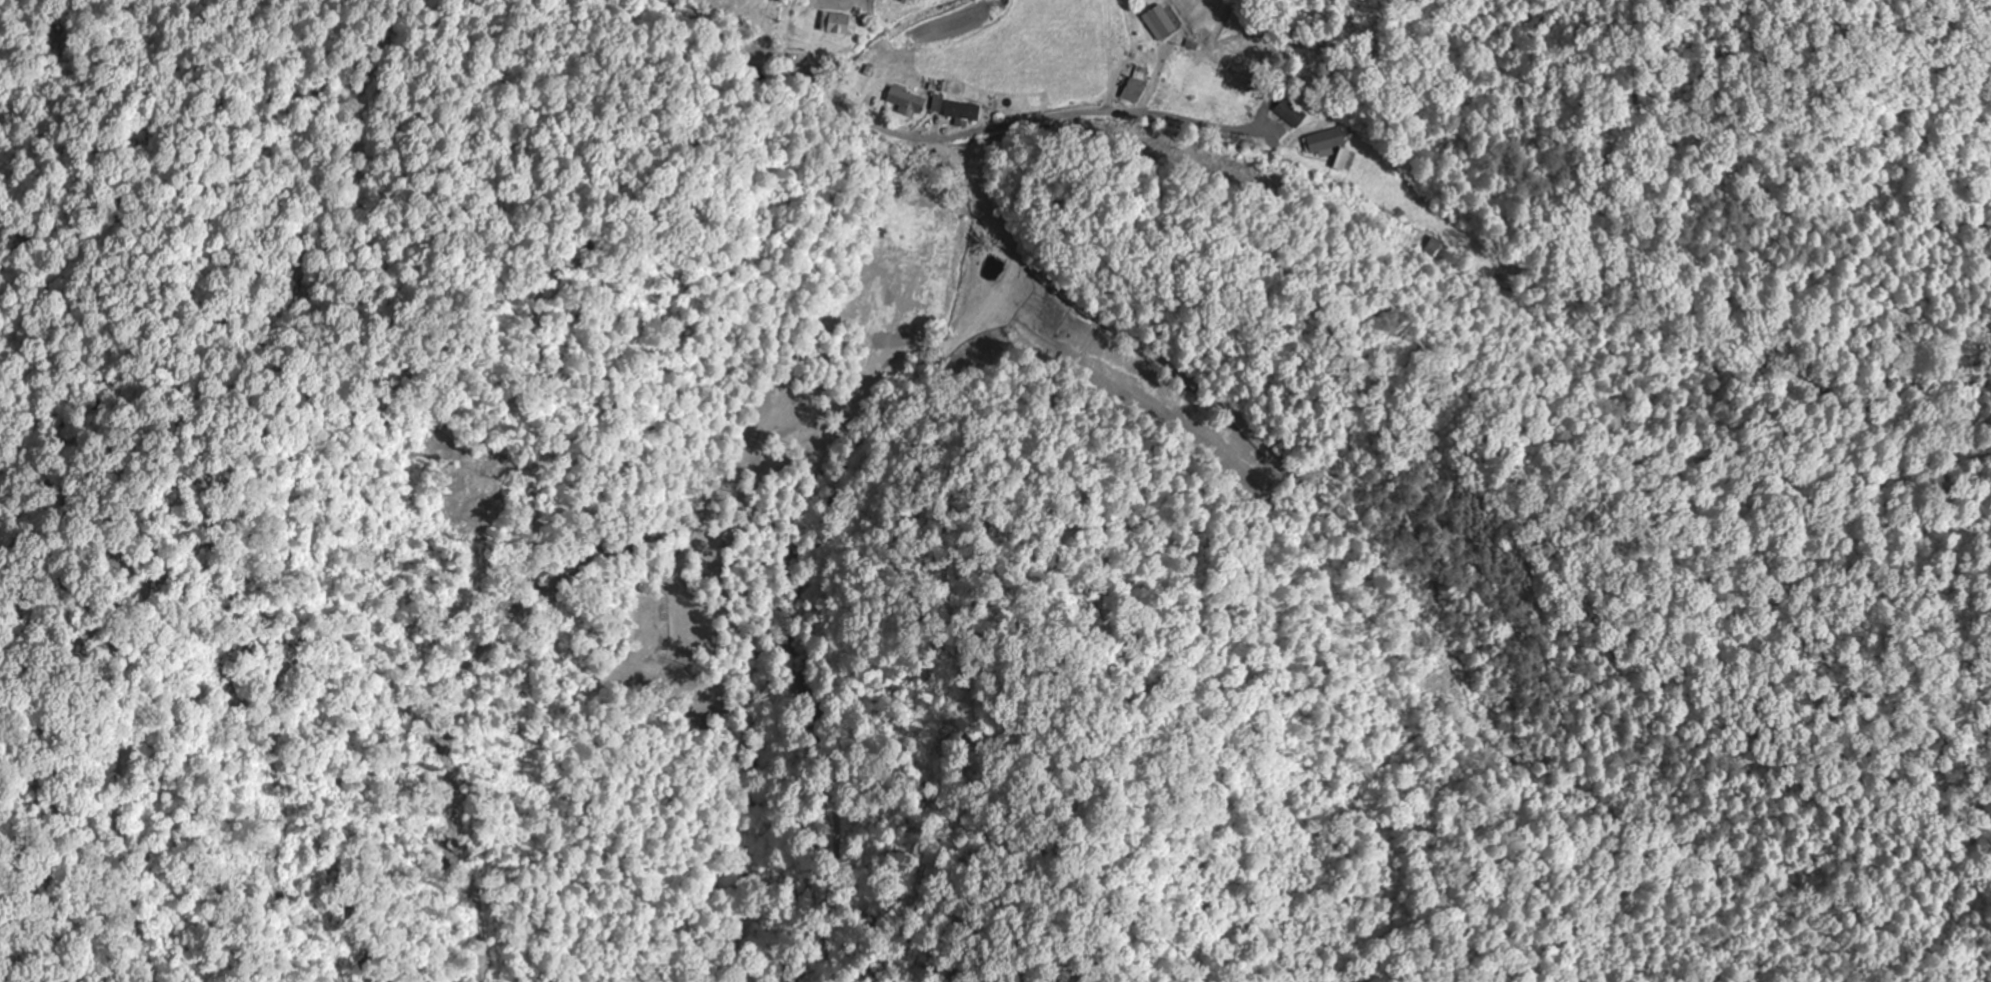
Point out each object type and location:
building: (1160, 23)
building: (840, 25)
building: (1136, 87)
building: (907, 101)
building: (938, 104)
building: (963, 111)
building: (1290, 115)
road: (945, 136)
building: (1328, 146)
building: (923, 221)
building: (1434, 247)
building: (981, 304)

